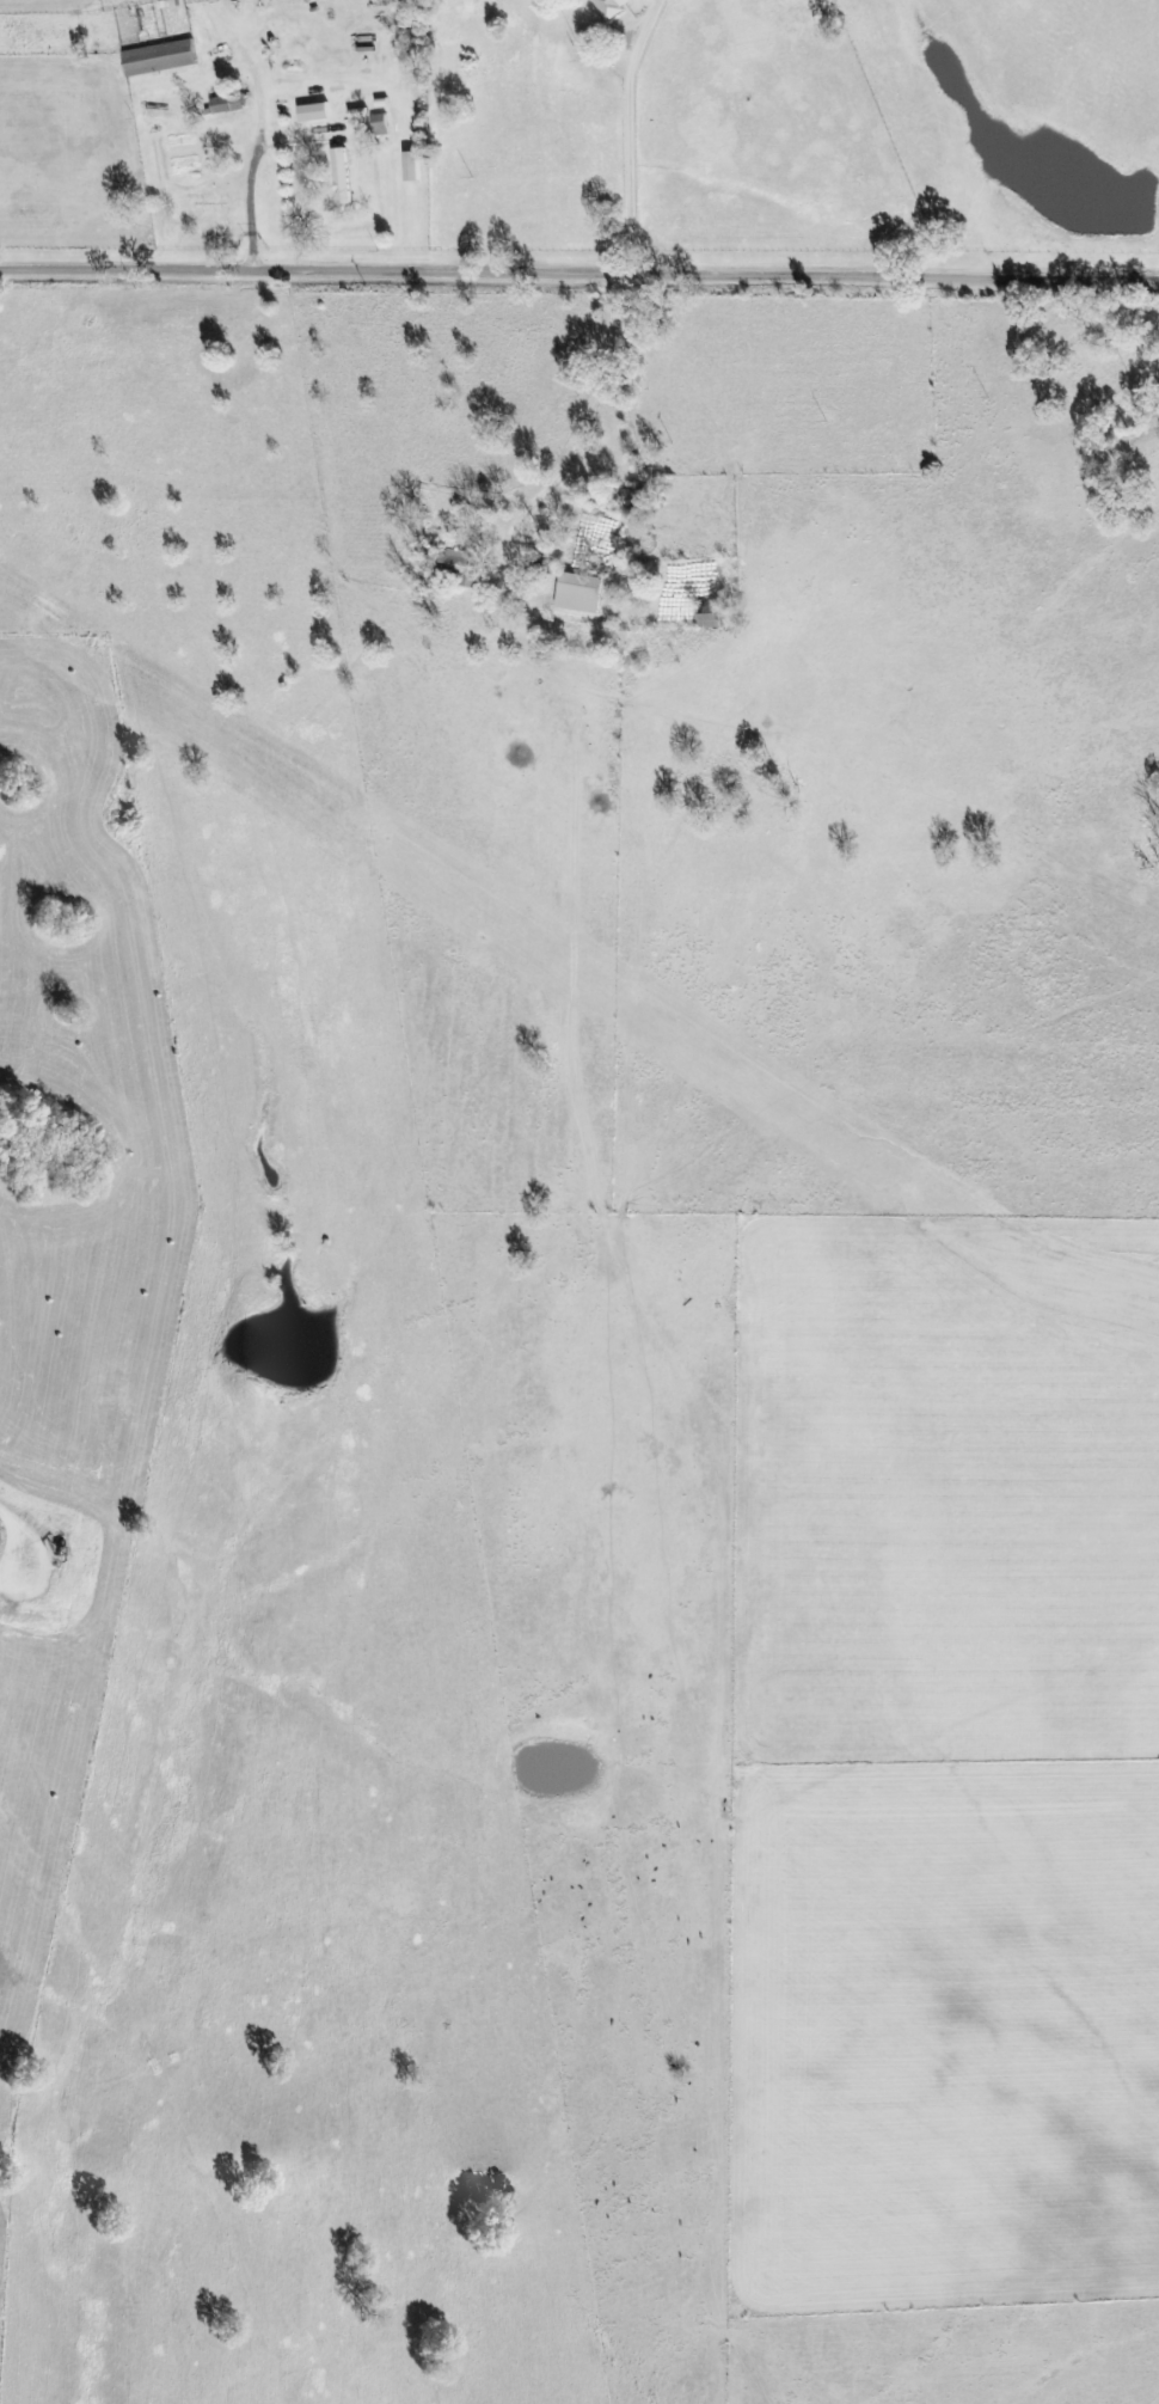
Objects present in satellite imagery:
building: (608, 5)
building: (161, 51)
building: (232, 103)
building: (317, 108)
building: (357, 117)
building: (380, 127)
road: (630, 134)
road: (260, 137)
building: (417, 161)
building: (344, 172)
road: (579, 274)
building: (462, 567)
building: (578, 594)
building: (709, 622)

